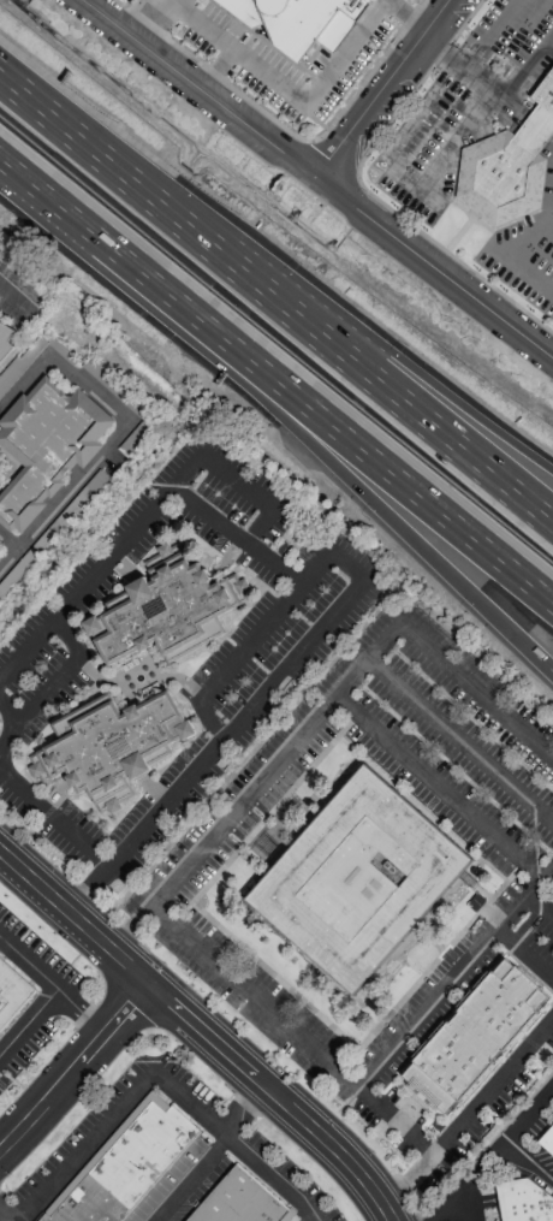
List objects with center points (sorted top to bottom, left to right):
road: (127, 12)
road: (406, 16)
building: (301, 20)
road: (493, 36)
road: (547, 49)
road: (444, 57)
road: (525, 65)
road: (218, 69)
road: (269, 79)
road: (385, 87)
road: (496, 95)
road: (28, 100)
road: (420, 115)
road: (537, 130)
road: (448, 138)
road: (551, 141)
road: (8, 162)
building: (509, 166)
road: (320, 176)
road: (405, 180)
road: (548, 223)
road: (531, 232)
road: (540, 247)
road: (530, 279)
road: (308, 289)
road: (17, 304)
road: (304, 321)
building: (4, 336)
road: (285, 384)
road: (285, 421)
building: (47, 447)
road: (97, 460)
road: (254, 492)
road: (237, 534)
road: (8, 540)
building: (0, 541)
building: (4, 553)
road: (100, 564)
building: (166, 610)
road: (245, 646)
road: (63, 675)
road: (321, 712)
road: (12, 722)
road: (459, 742)
building: (112, 747)
road: (212, 749)
road: (439, 789)
road: (54, 818)
building: (358, 881)
road: (75, 917)
road: (28, 962)
building: (12, 992)
road: (81, 1012)
road: (28, 1020)
building: (474, 1038)
road: (75, 1068)
road: (363, 1075)
road: (284, 1092)
road: (264, 1101)
road: (233, 1107)
road: (471, 1109)
road: (530, 1114)
road: (396, 1116)
building: (547, 1139)
road: (237, 1143)
road: (83, 1148)
road: (530, 1161)
building: (125, 1164)
road: (188, 1176)
road: (468, 1180)
building: (239, 1201)
building: (524, 1202)
road: (459, 1207)
road: (5, 1215)

